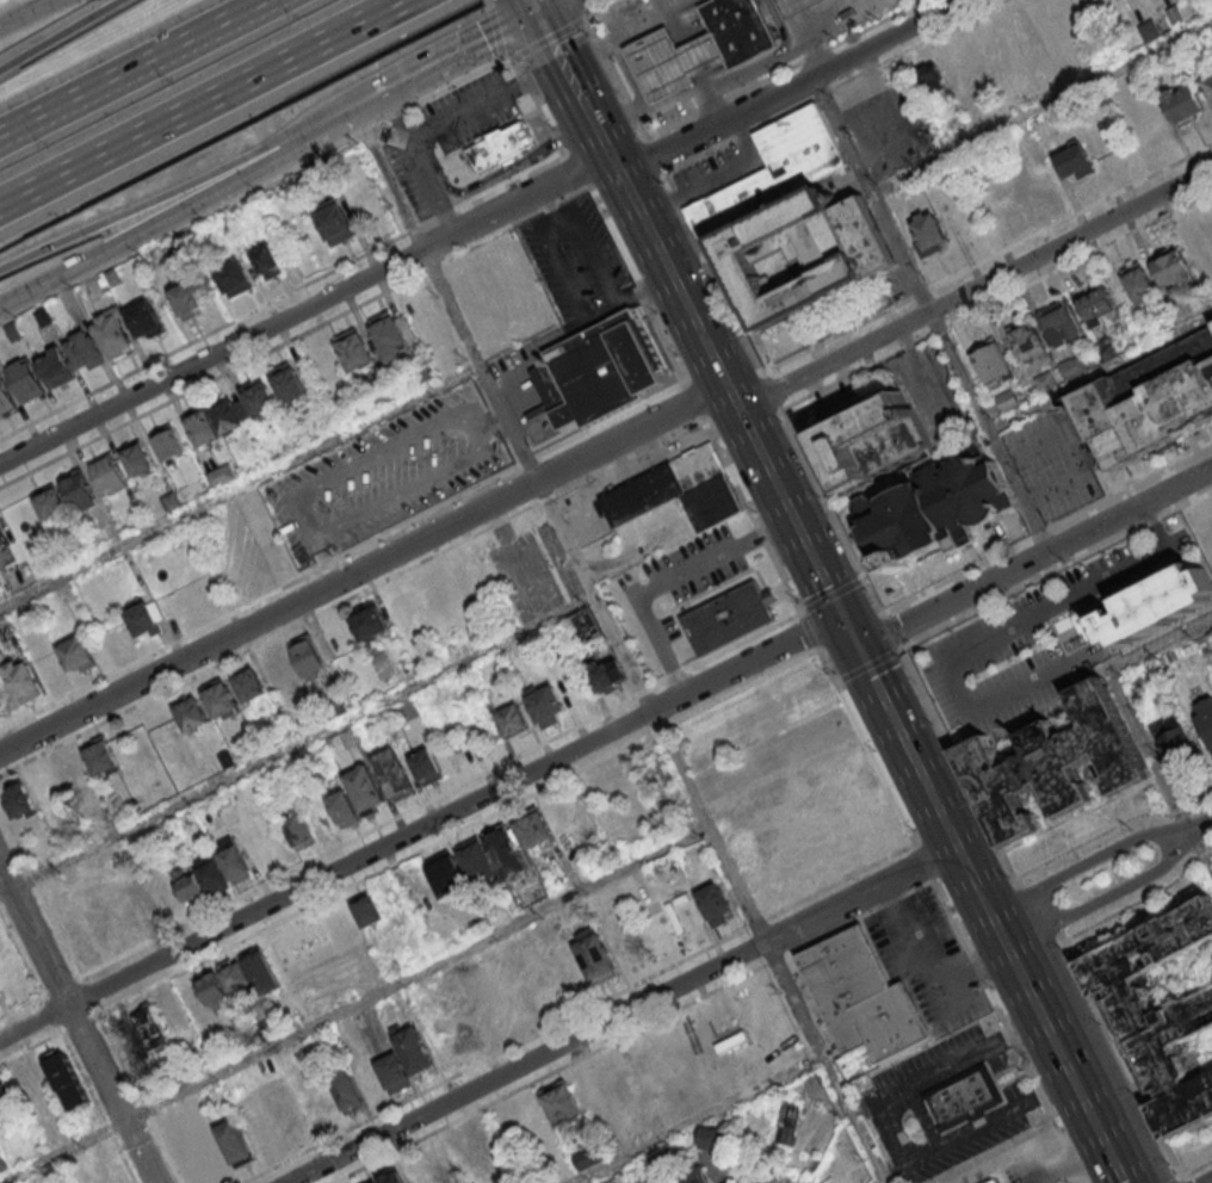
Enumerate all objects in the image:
road: (490, 0)
road: (8, 4)
road: (491, 4)
road: (534, 5)
road: (549, 5)
road: (581, 5)
building: (799, 6)
road: (599, 8)
traffic signals: (538, 11)
road: (33, 16)
road: (496, 30)
building: (740, 30)
road: (57, 35)
road: (548, 37)
road: (475, 43)
road: (502, 55)
road: (514, 56)
road: (561, 57)
building: (675, 61)
road: (132, 67)
building: (963, 67)
building: (929, 78)
road: (524, 80)
road: (790, 83)
building: (1208, 83)
road: (449, 85)
road: (373, 95)
road: (200, 101)
building: (1183, 101)
road: (1040, 104)
parking lot: (469, 109)
building: (1146, 119)
road: (326, 120)
road: (548, 123)
road: (440, 124)
road: (305, 130)
road: (361, 130)
road: (488, 134)
building: (501, 145)
building: (1075, 161)
road: (519, 165)
parking lot: (719, 168)
building: (773, 168)
road: (576, 169)
parking lot: (413, 181)
road: (509, 181)
road: (699, 187)
road: (573, 192)
road: (672, 194)
road: (148, 202)
road: (550, 204)
road: (444, 213)
road: (565, 219)
road: (425, 222)
building: (335, 223)
road: (151, 225)
road: (177, 229)
road: (409, 229)
building: (929, 233)
road: (489, 236)
building: (804, 253)
road: (663, 254)
road: (1080, 256)
road: (595, 259)
building: (267, 260)
road: (429, 266)
building: (1173, 268)
road: (567, 275)
building: (234, 277)
road: (725, 278)
building: (1140, 283)
road: (638, 284)
road: (976, 287)
building: (187, 299)
road: (305, 306)
building: (1101, 308)
road: (929, 312)
building: (143, 318)
building: (1063, 322)
road: (939, 328)
building: (112, 333)
road: (202, 334)
building: (389, 335)
building: (1029, 340)
building: (354, 349)
building: (84, 351)
building: (994, 363)
building: (55, 366)
building: (596, 371)
road: (855, 371)
road: (472, 372)
road: (1100, 372)
road: (212, 376)
building: (25, 379)
building: (287, 382)
road: (481, 390)
road: (769, 390)
building: (5, 397)
building: (259, 397)
building: (1008, 400)
building: (1149, 400)
road: (691, 402)
road: (491, 413)
building: (216, 420)
road: (483, 420)
road: (468, 429)
street lamp: (450, 439)
building: (871, 440)
building: (168, 442)
road: (1084, 445)
building: (137, 458)
parking lot: (1053, 465)
building: (109, 473)
building: (221, 475)
building: (661, 484)
road: (239, 485)
road: (1128, 485)
building: (79, 490)
building: (49, 502)
building: (711, 503)
street lamp: (330, 504)
road: (791, 510)
road: (830, 510)
building: (935, 510)
road: (307, 514)
road: (749, 514)
road: (1157, 525)
road: (1038, 532)
building: (2, 541)
road: (1035, 560)
road: (363, 566)
road: (1055, 566)
parking lot: (1100, 568)
road: (956, 574)
road: (861, 577)
road: (664, 580)
road: (282, 584)
road: (830, 594)
road: (351, 596)
building: (406, 605)
building: (1156, 605)
road: (800, 609)
traffic signals: (845, 615)
building: (732, 617)
building: (144, 619)
building: (369, 621)
road: (808, 630)
road: (890, 630)
road: (853, 632)
road: (1161, 643)
road: (977, 644)
road: (616, 645)
road: (897, 649)
traffic signals: (861, 650)
building: (76, 654)
building: (308, 657)
parking lot: (998, 659)
road: (866, 664)
building: (278, 669)
building: (605, 675)
building: (21, 679)
road: (836, 680)
building: (248, 683)
building: (221, 699)
building: (546, 706)
building: (190, 712)
building: (1205, 717)
building: (513, 721)
building: (1174, 738)
road: (296, 744)
road: (1151, 749)
building: (100, 755)
road: (958, 761)
building: (1055, 762)
building: (426, 767)
building: (73, 768)
building: (394, 773)
road: (926, 781)
building: (44, 783)
building: (365, 788)
road: (439, 795)
building: (18, 798)
building: (344, 807)
road: (1202, 824)
road: (421, 828)
building: (533, 829)
building: (299, 830)
road: (1202, 849)
building: (506, 850)
building: (477, 861)
road: (1089, 862)
building: (234, 863)
building: (446, 873)
building: (190, 882)
road: (39, 897)
road: (1107, 897)
road: (1143, 898)
building: (143, 902)
building: (713, 903)
road: (1035, 906)
building: (367, 910)
road: (952, 913)
building: (594, 954)
building: (1211, 967)
building: (237, 978)
building: (865, 997)
road: (352, 1003)
building: (1161, 1011)
road: (620, 1012)
road: (78, 1024)
road: (636, 1032)
building: (140, 1034)
road: (1058, 1047)
building: (412, 1048)
road: (1120, 1054)
building: (392, 1072)
building: (66, 1079)
building: (814, 1083)
building: (344, 1088)
building: (966, 1097)
building: (5, 1101)
building: (559, 1104)
building: (183, 1113)
road: (700, 1120)
building: (789, 1123)
building: (482, 1138)
building: (713, 1138)
building: (234, 1142)
building: (459, 1151)
road: (1198, 1170)
building: (694, 1175)
building: (390, 1177)
road: (1206, 1179)
building: (738, 1181)
building: (771, 1181)
building: (996, 1181)
road: (1179, 1181)
road: (1183, 1181)
building: (375, 1182)

